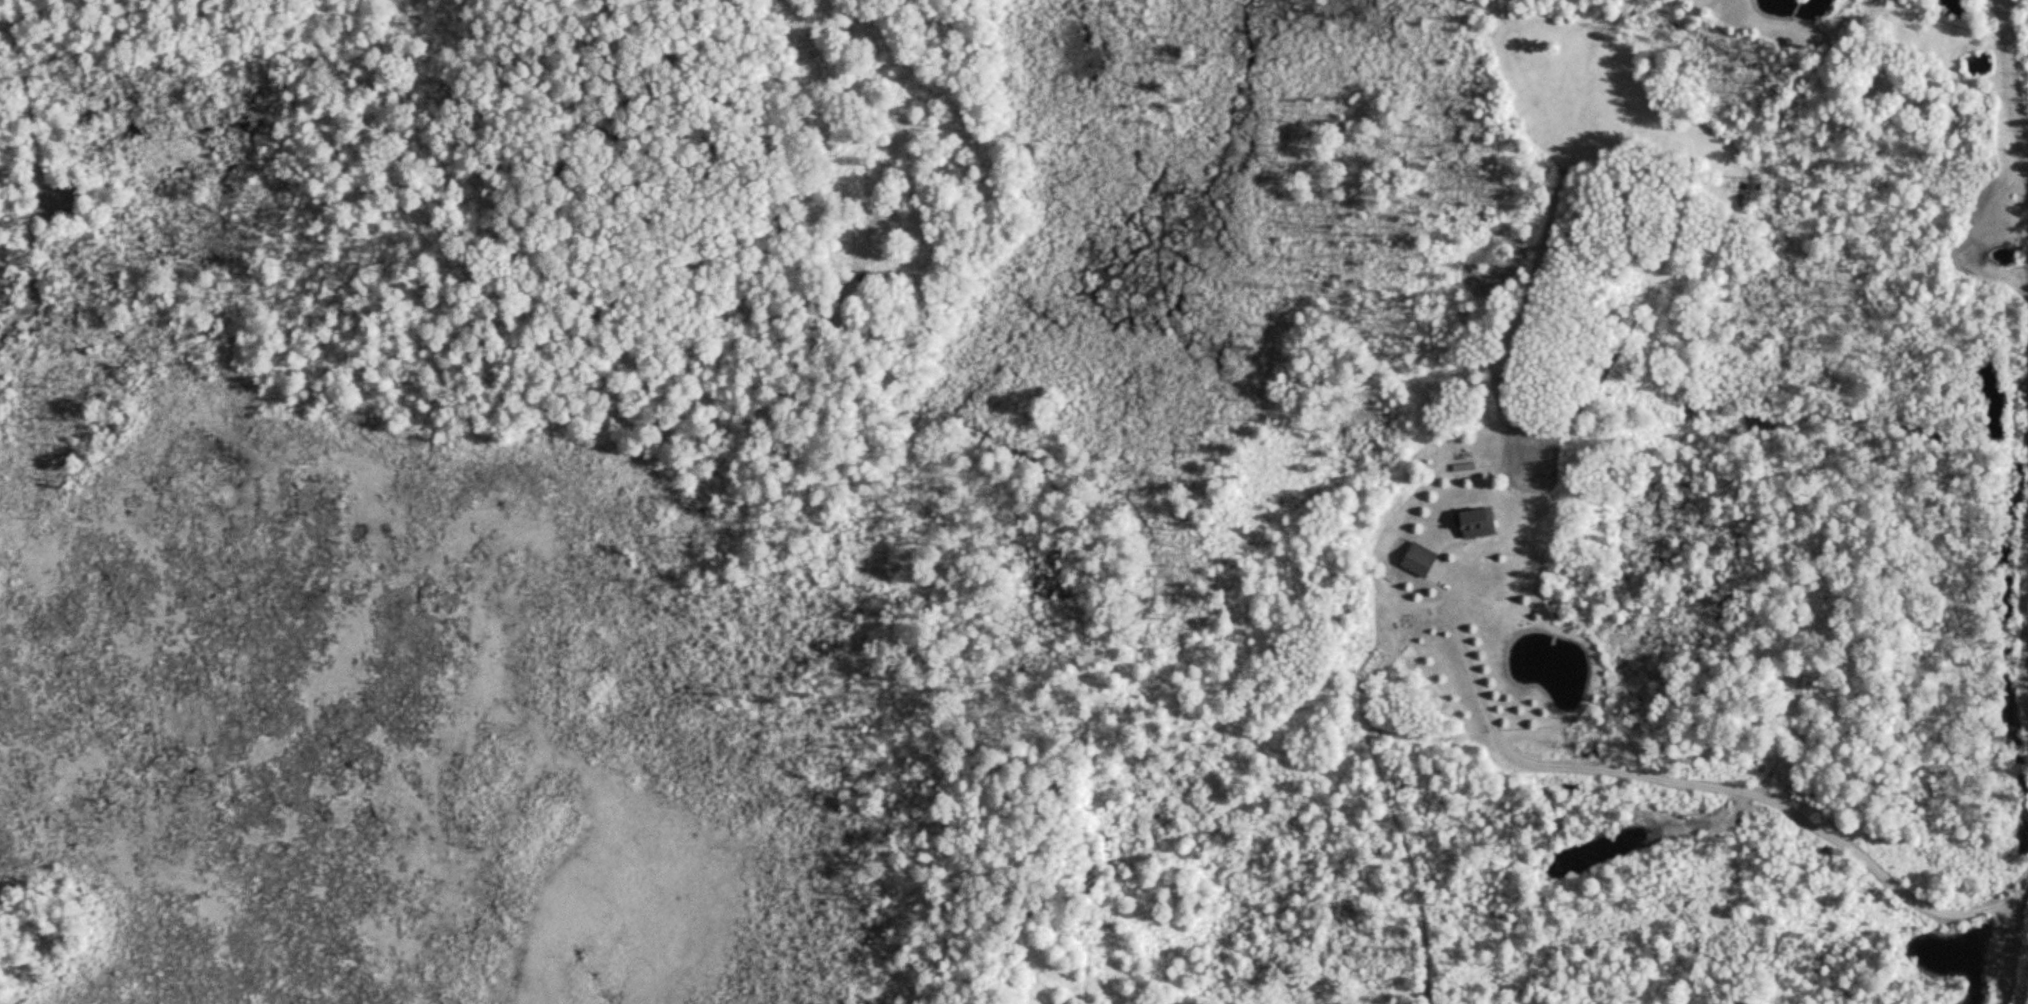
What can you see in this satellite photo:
road: (2015, 91)
building: (1484, 523)
building: (1424, 561)
road: (2023, 602)
road: (1710, 783)

